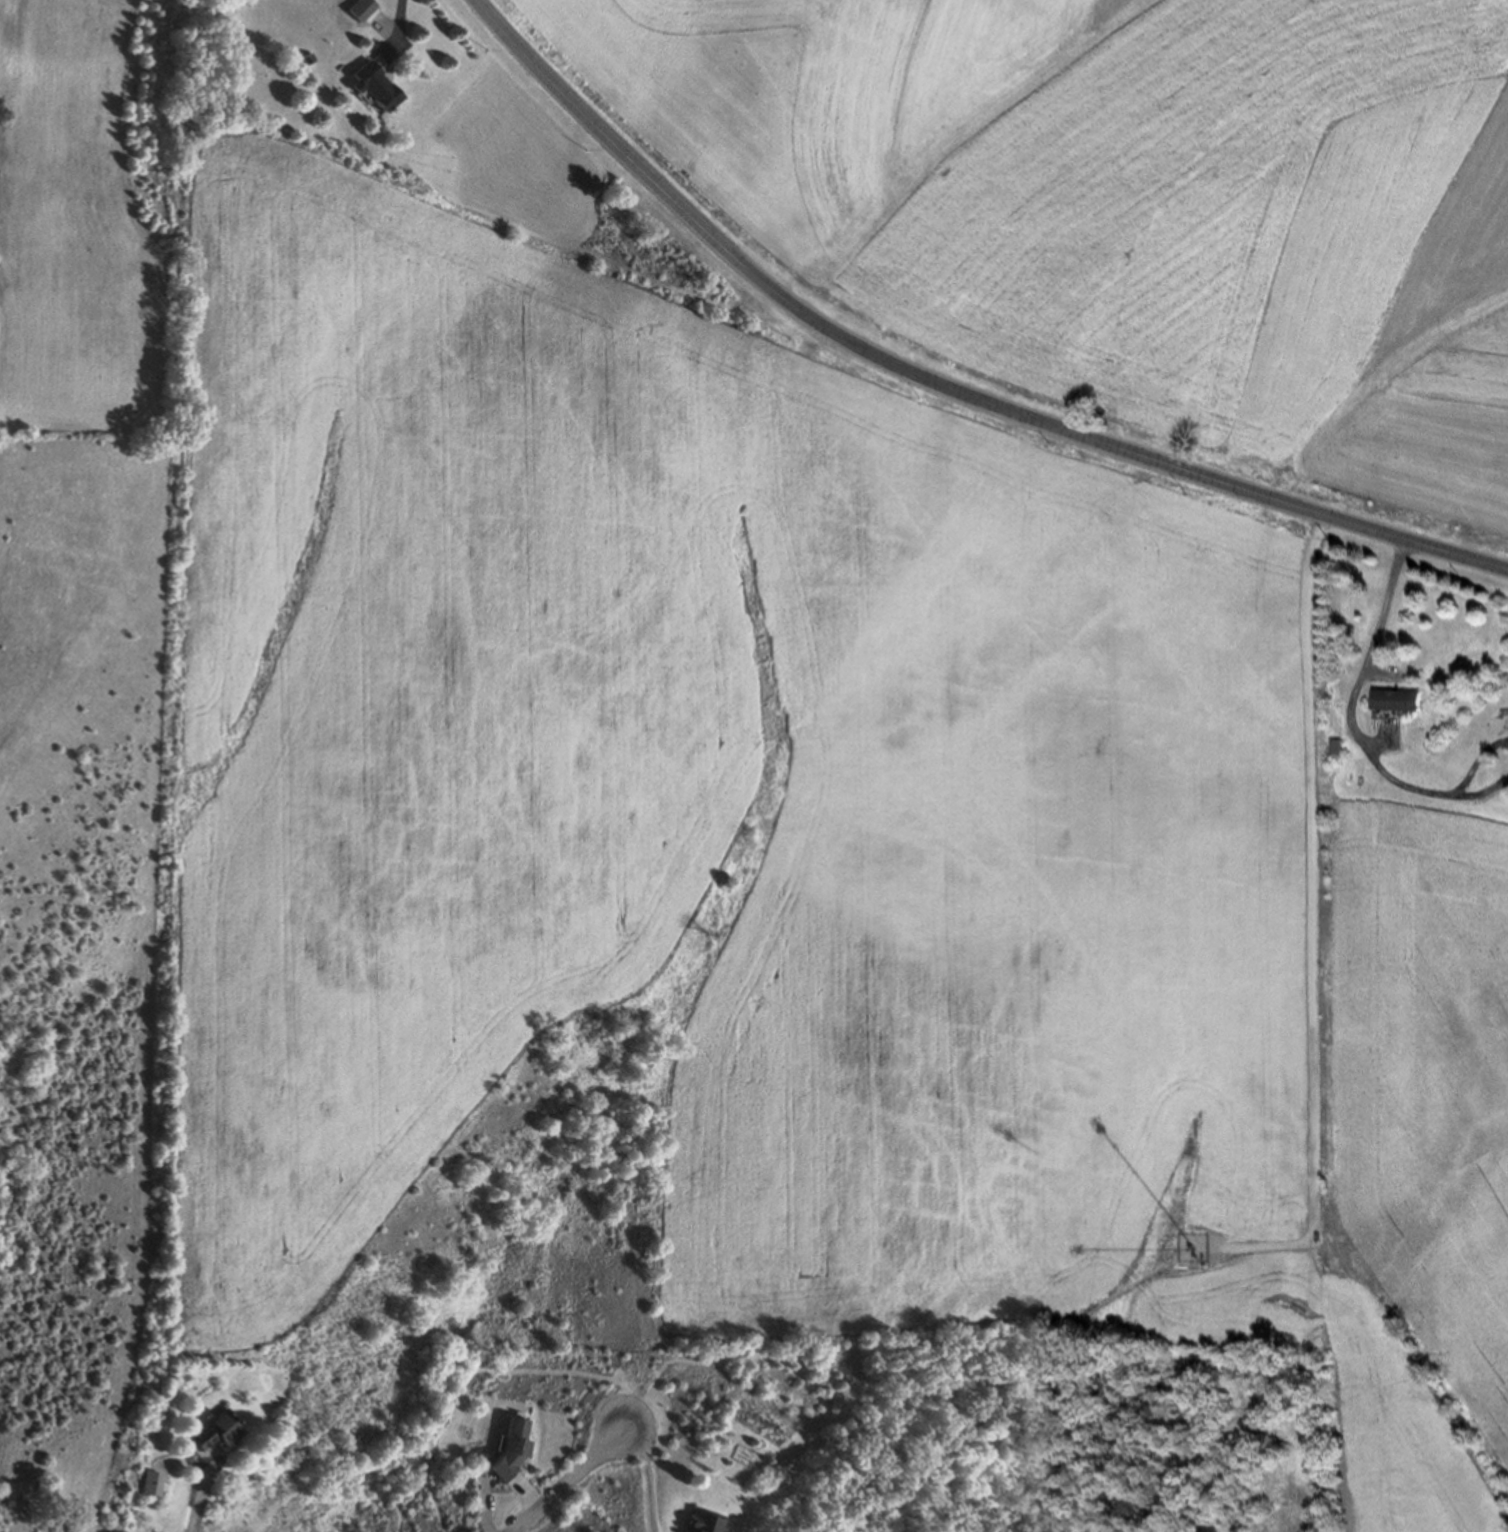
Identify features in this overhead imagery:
road: (399, 27)
building: (378, 85)
road: (933, 384)
road: (1354, 692)
building: (1399, 699)
road: (1475, 765)
road: (1479, 795)
building: (219, 1431)
building: (513, 1447)
road: (648, 1476)
road: (569, 1478)
building: (153, 1482)
road: (196, 1497)
building: (705, 1521)

